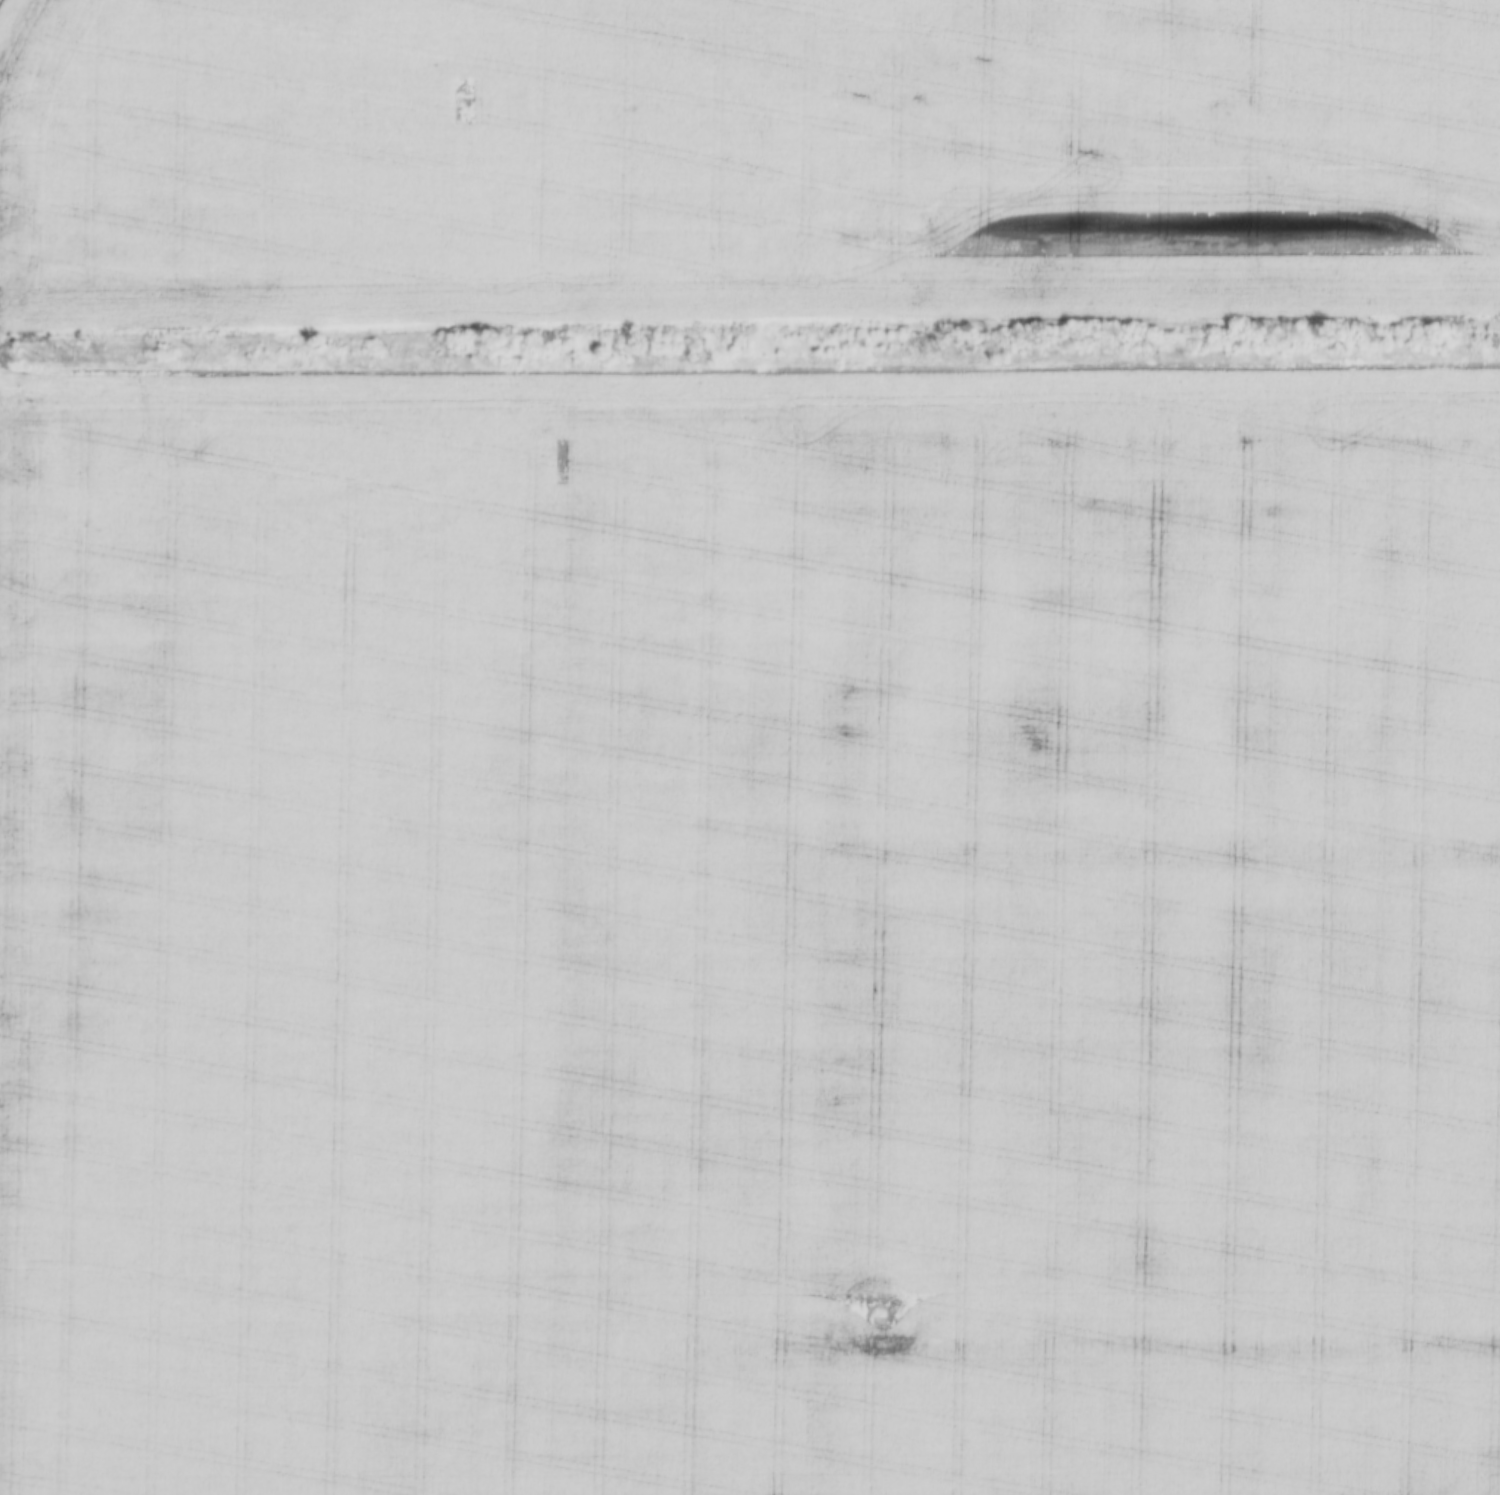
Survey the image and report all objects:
crop: (745, 162)
crop: (751, 932)

